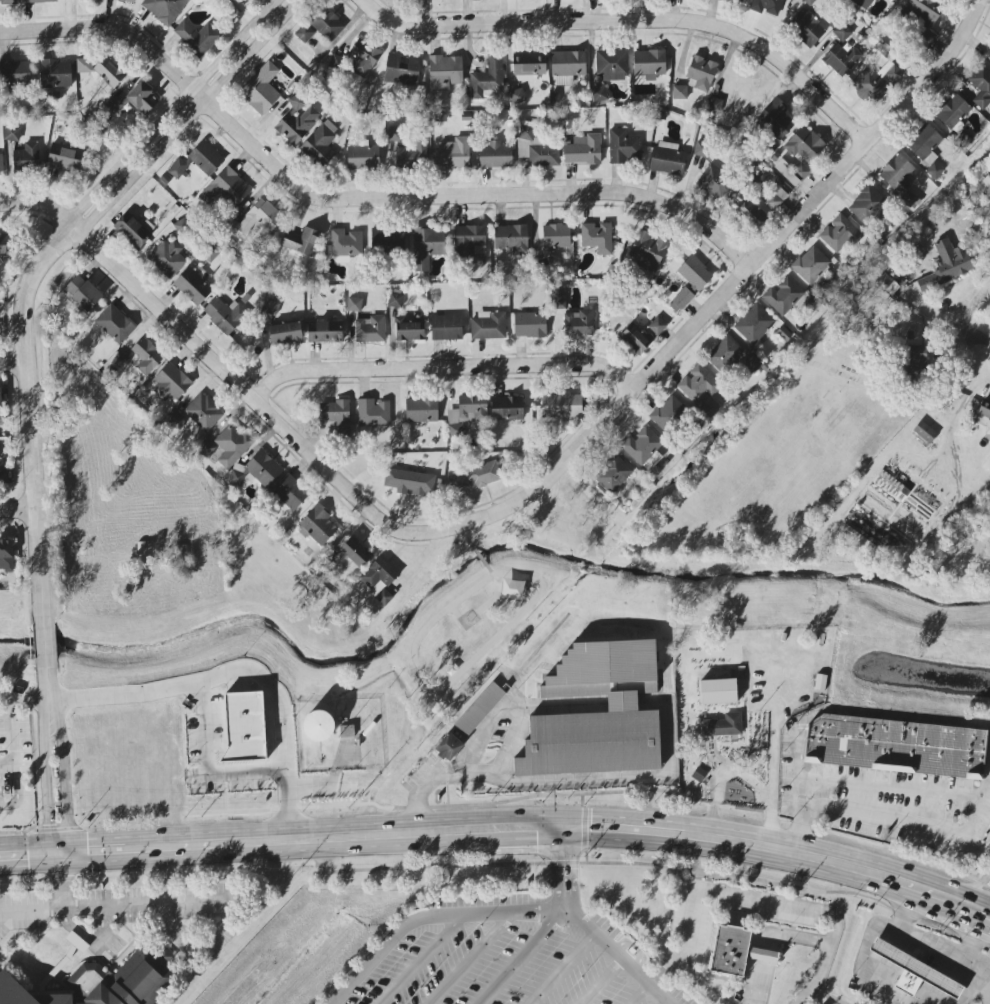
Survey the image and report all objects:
building: (127, 0)
building: (740, 0)
building: (898, 0)
building: (7, 1)
building: (37, 1)
building: (809, 1)
building: (860, 4)
building: (766, 7)
building: (163, 9)
building: (924, 17)
road: (633, 21)
building: (325, 23)
building: (805, 28)
building: (842, 32)
building: (304, 33)
building: (196, 37)
building: (989, 49)
building: (363, 57)
building: (840, 59)
building: (649, 63)
building: (891, 63)
building: (611, 64)
building: (567, 66)
building: (528, 67)
building: (401, 69)
building: (14, 72)
building: (444, 72)
building: (55, 73)
building: (700, 74)
building: (487, 77)
building: (869, 86)
building: (981, 86)
building: (261, 89)
building: (679, 92)
building: (598, 94)
building: (517, 96)
building: (555, 97)
building: (133, 101)
building: (714, 104)
building: (465, 116)
building: (776, 118)
building: (295, 120)
building: (508, 122)
building: (568, 126)
building: (11, 133)
building: (395, 133)
building: (526, 133)
building: (924, 143)
building: (804, 144)
building: (319, 145)
building: (623, 146)
building: (701, 149)
building: (583, 150)
building: (452, 154)
building: (494, 155)
building: (362, 157)
building: (409, 157)
building: (25, 158)
building: (63, 158)
building: (667, 158)
building: (198, 160)
building: (1, 165)
building: (934, 170)
building: (801, 171)
building: (896, 173)
building: (714, 182)
building: (226, 188)
road: (356, 197)
building: (775, 198)
building: (907, 199)
building: (868, 205)
building: (762, 206)
building: (750, 214)
building: (255, 220)
building: (134, 229)
building: (839, 234)
building: (555, 237)
building: (597, 237)
building: (511, 238)
building: (386, 239)
building: (301, 241)
building: (468, 241)
building: (345, 243)
building: (5, 245)
building: (426, 246)
building: (647, 251)
building: (208, 257)
building: (167, 258)
road: (51, 260)
building: (811, 265)
building: (946, 265)
building: (694, 274)
building: (192, 286)
building: (86, 295)
building: (783, 296)
building: (557, 297)
road: (724, 297)
building: (682, 298)
building: (395, 300)
building: (354, 304)
building: (271, 307)
building: (224, 314)
building: (578, 323)
building: (754, 323)
building: (114, 324)
building: (529, 324)
building: (488, 325)
building: (657, 325)
road: (961, 326)
building: (446, 327)
building: (369, 329)
building: (285, 331)
building: (324, 331)
building: (635, 339)
building: (724, 353)
building: (139, 357)
road: (216, 358)
building: (914, 360)
road: (14, 361)
building: (751, 363)
road: (447, 370)
building: (170, 382)
building: (700, 389)
building: (561, 406)
building: (506, 408)
building: (984, 408)
building: (421, 410)
building: (0, 411)
building: (203, 412)
building: (372, 413)
building: (466, 413)
building: (667, 413)
building: (336, 416)
building: (988, 427)
building: (923, 431)
building: (231, 445)
building: (643, 447)
building: (205, 448)
building: (987, 463)
building: (263, 467)
building: (3, 470)
building: (614, 474)
building: (475, 476)
building: (236, 478)
building: (409, 482)
building: (891, 485)
building: (290, 492)
road: (18, 510)
building: (317, 525)
building: (352, 553)
building: (6, 556)
building: (379, 578)
road: (44, 637)
road: (237, 669)
building: (819, 681)
road: (48, 684)
building: (718, 691)
road: (8, 698)
road: (30, 704)
building: (478, 710)
building: (318, 725)
building: (722, 725)
building: (244, 726)
building: (346, 731)
road: (12, 742)
building: (590, 743)
building: (898, 744)
building: (448, 747)
road: (771, 766)
road: (206, 767)
building: (697, 774)
road: (463, 775)
road: (724, 776)
road: (55, 777)
road: (882, 787)
road: (18, 794)
road: (418, 794)
road: (874, 810)
road: (975, 814)
road: (501, 825)
road: (989, 851)
road: (982, 894)
road: (749, 898)
road: (115, 902)
road: (34, 906)
road: (2, 908)
road: (2, 910)
road: (432, 917)
road: (586, 927)
road: (770, 939)
building: (76, 942)
road: (971, 944)
road: (928, 949)
building: (734, 951)
parking lot: (520, 954)
road: (523, 955)
road: (472, 957)
road: (419, 959)
road: (864, 962)
gas station: (920, 966)
building: (915, 967)
road: (562, 970)
building: (907, 982)
road: (601, 983)
building: (100, 984)
road: (638, 995)

